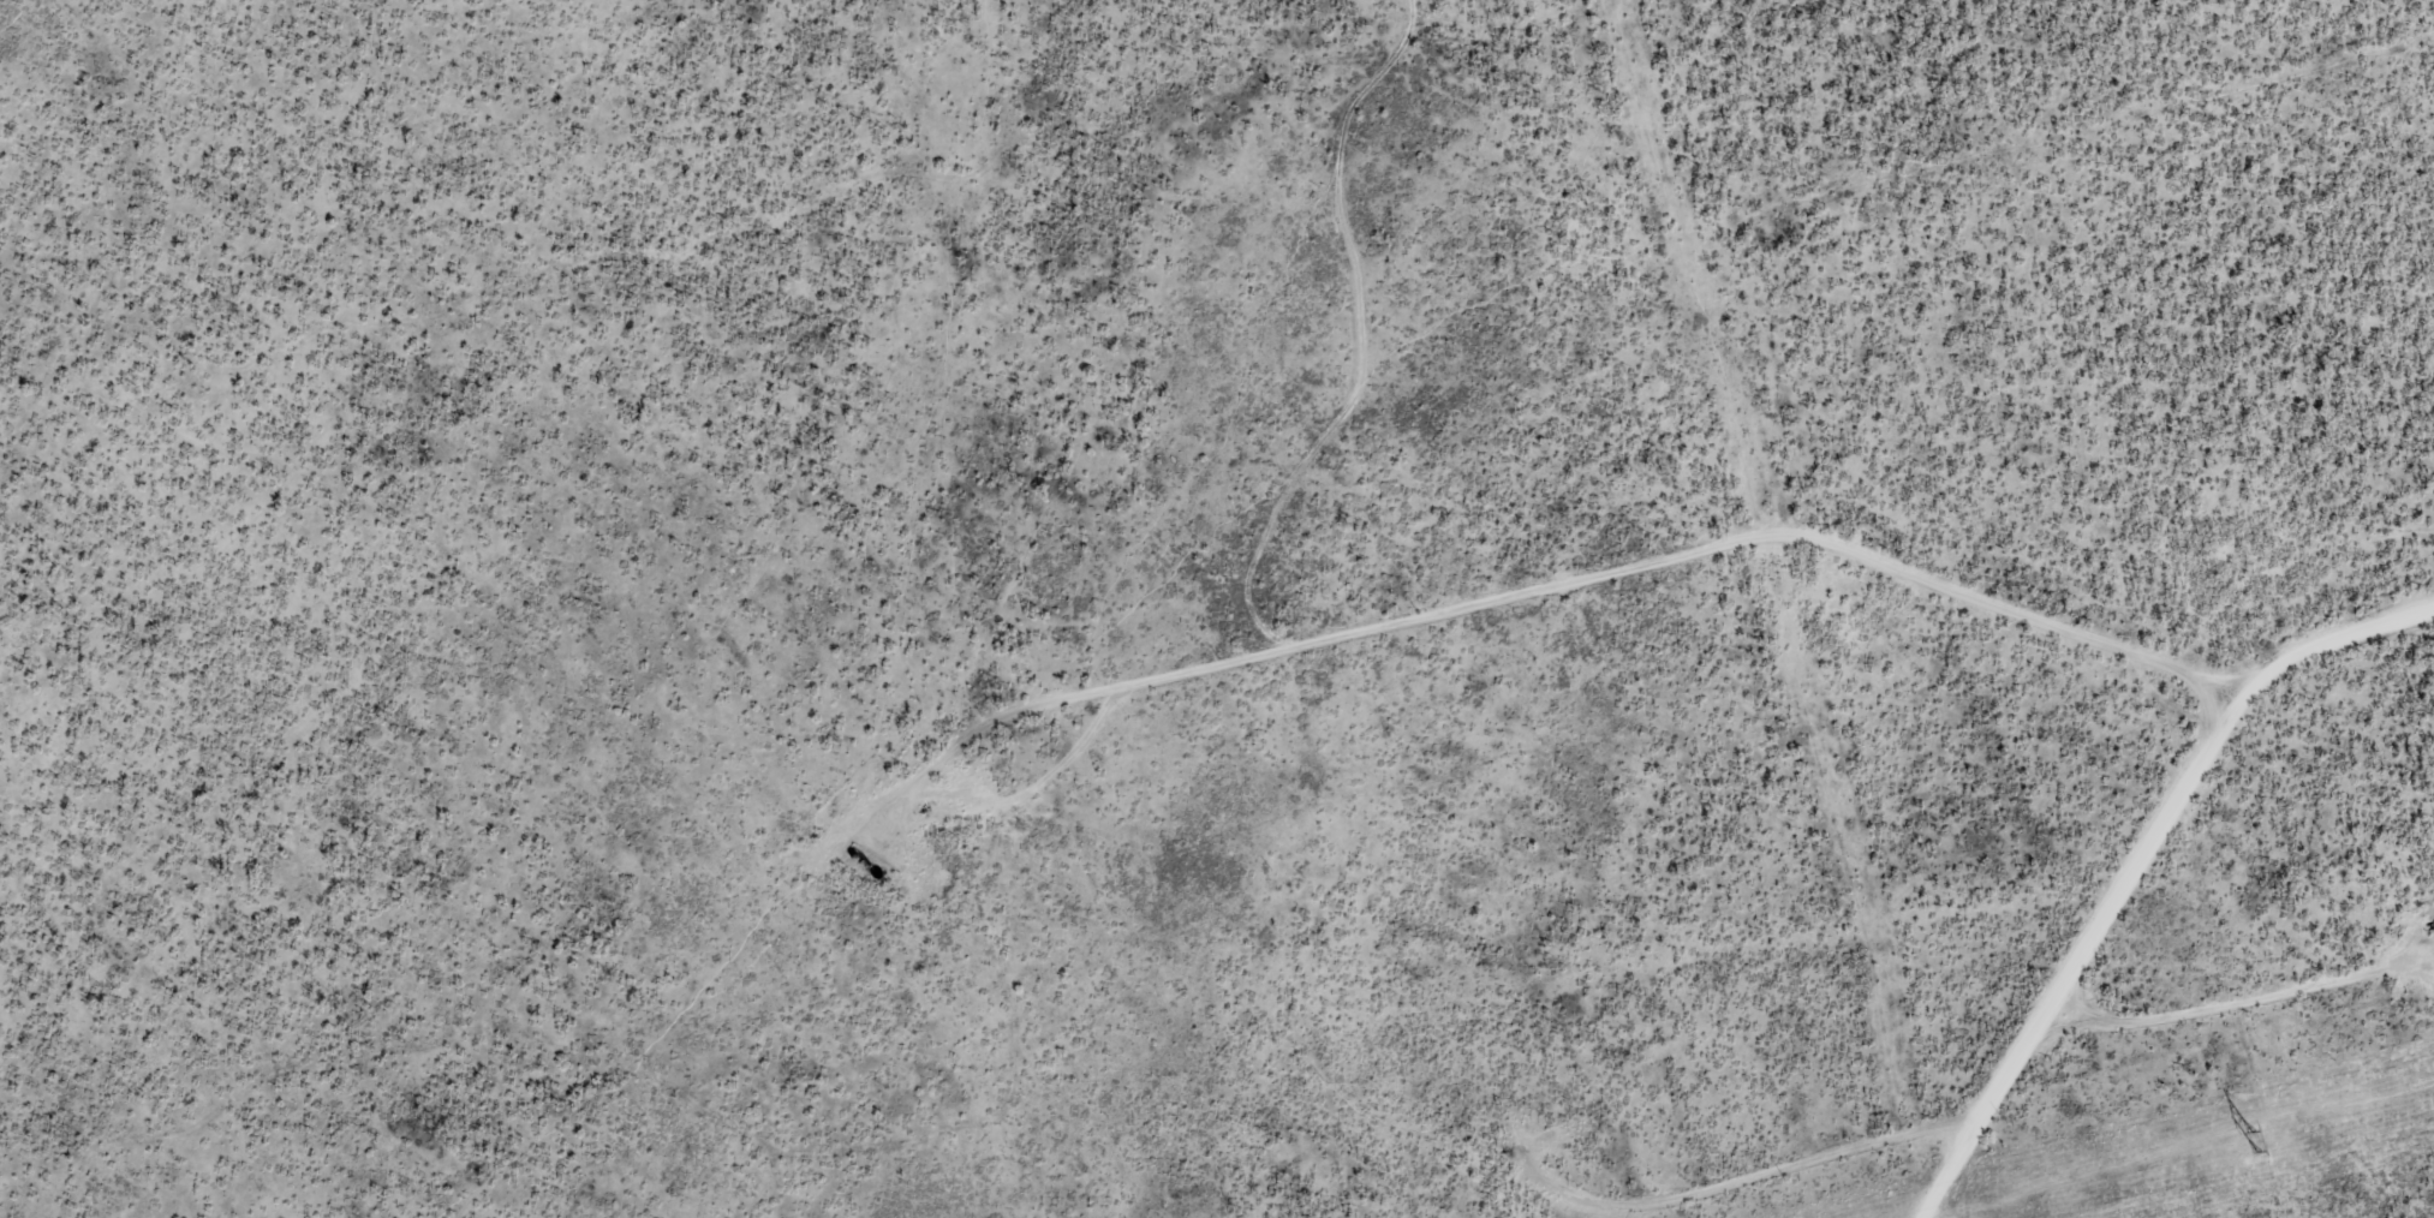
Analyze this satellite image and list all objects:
power tower: (2257, 1140)

